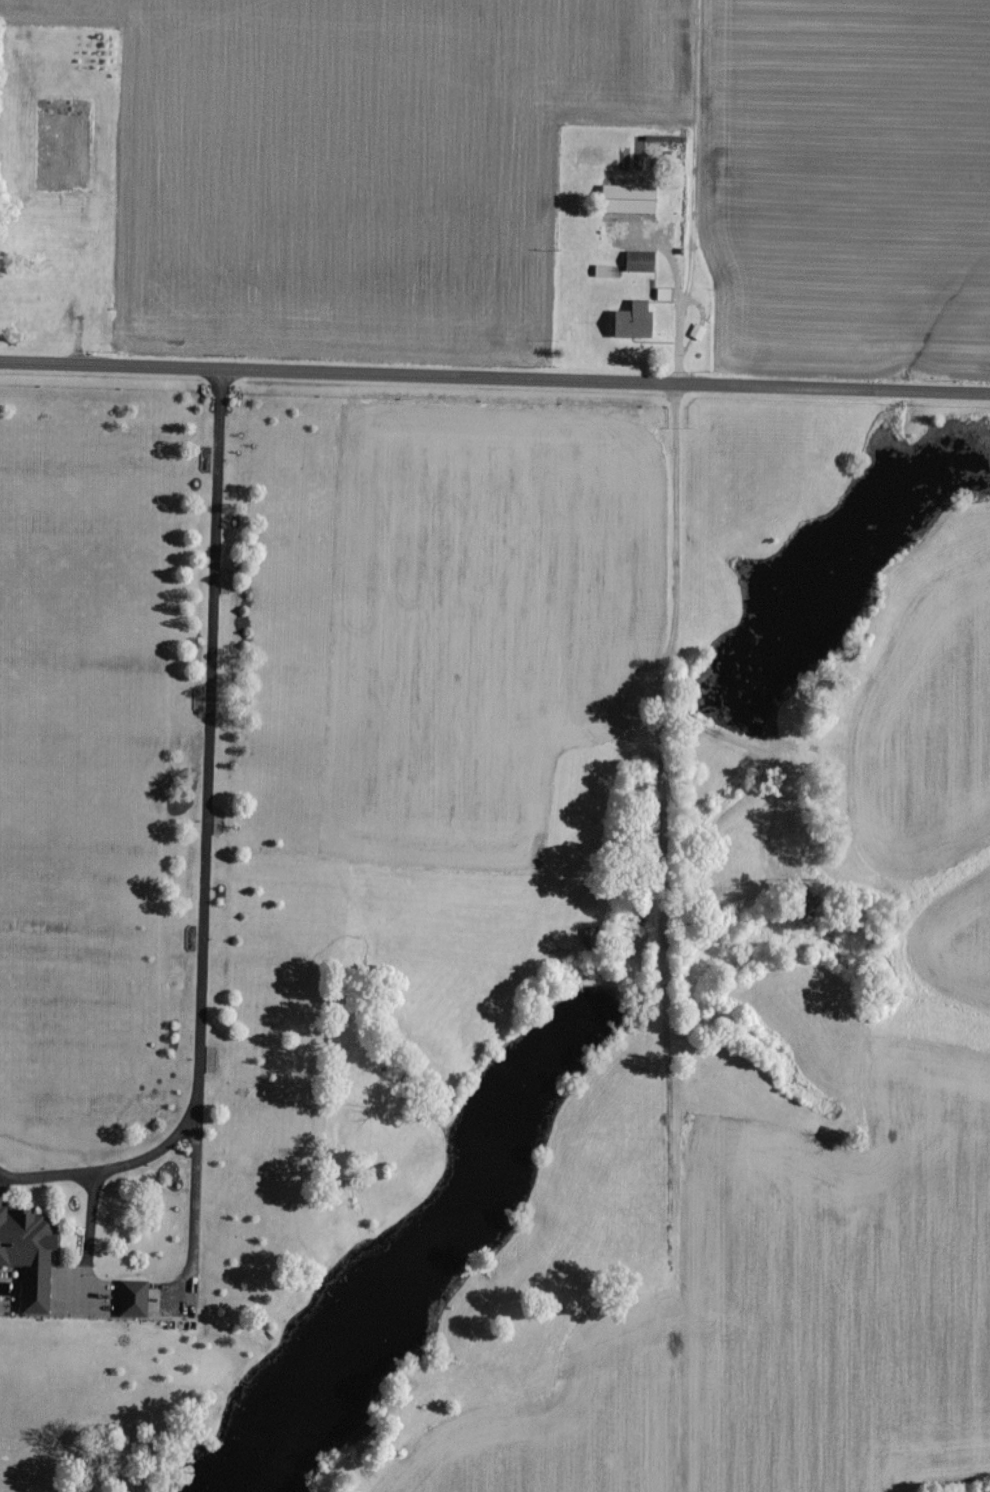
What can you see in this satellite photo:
building: (626, 197)
building: (638, 258)
road: (675, 296)
building: (632, 319)
road: (494, 377)
road: (205, 846)
building: (27, 1253)
building: (131, 1295)

